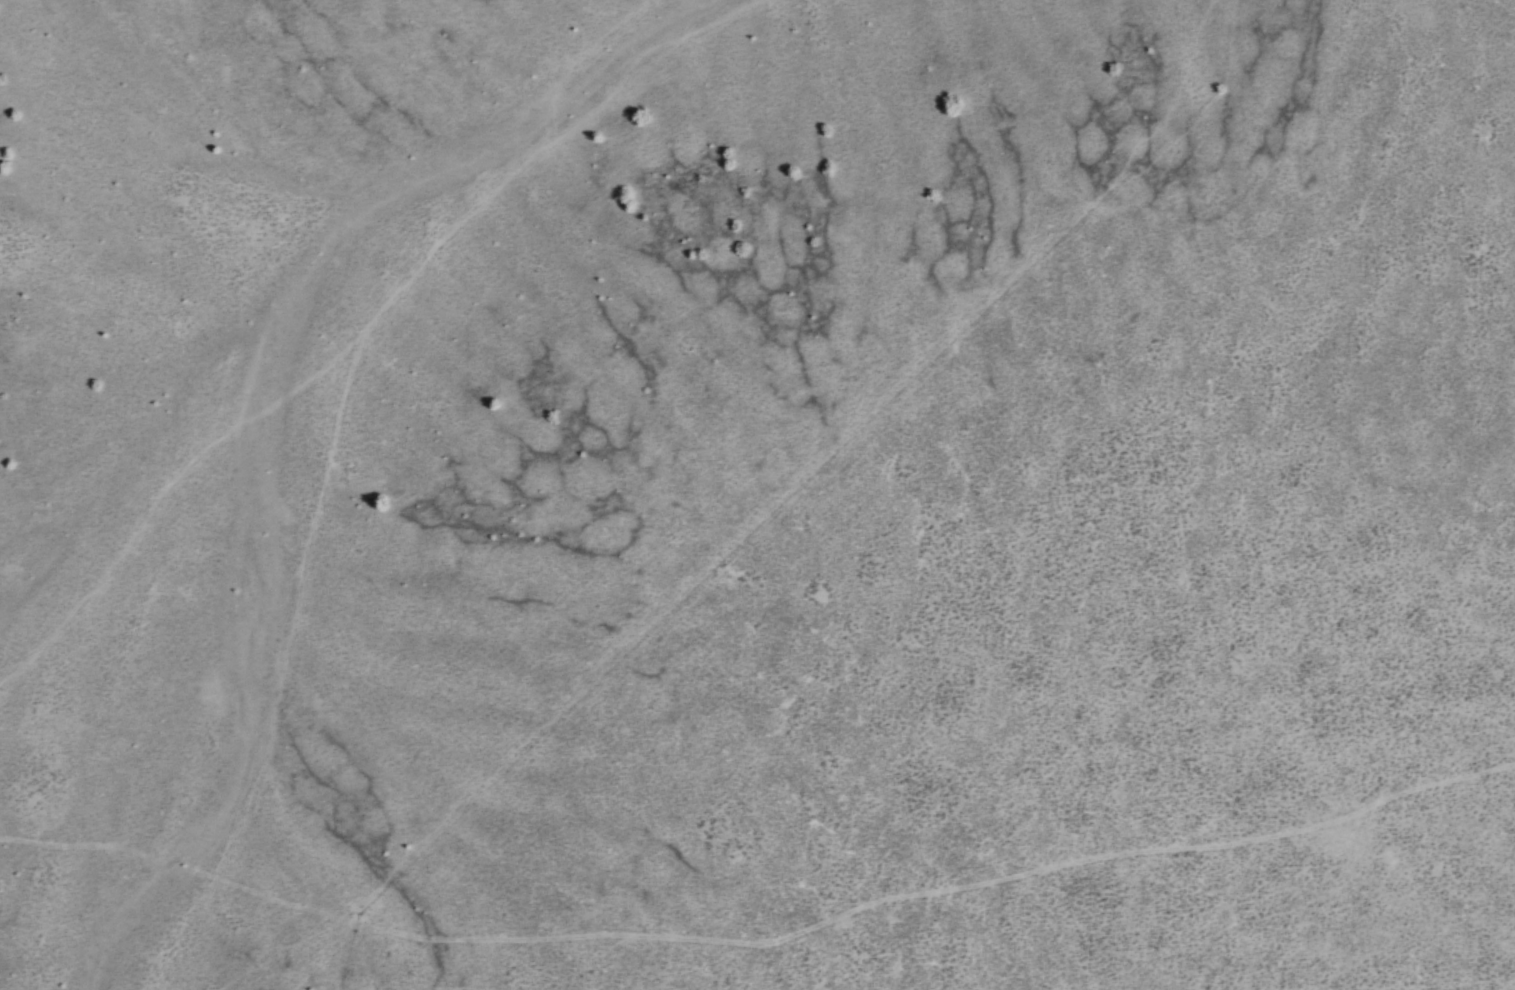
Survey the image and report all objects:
road: (762, 942)

